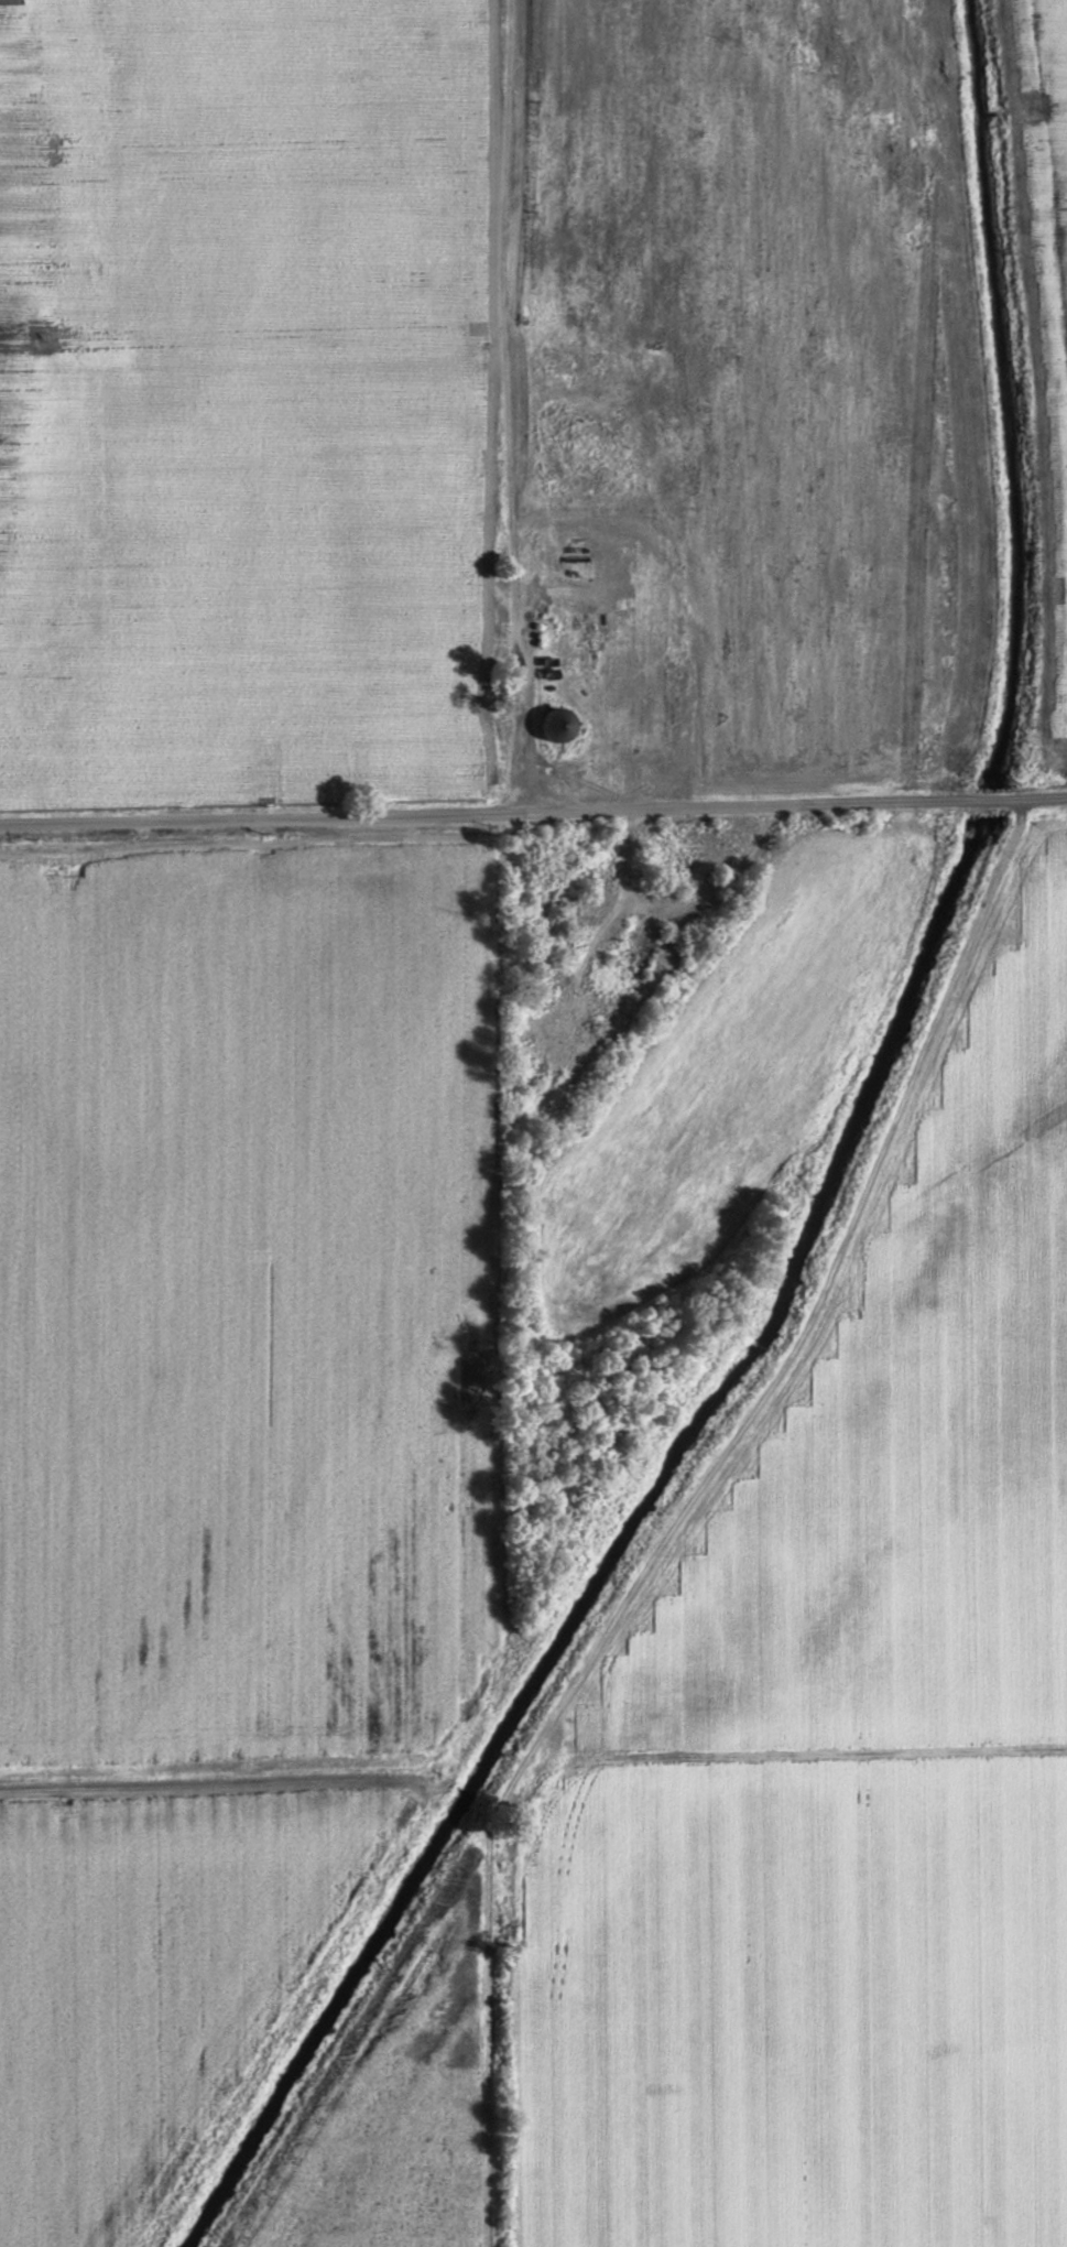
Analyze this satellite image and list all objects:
road: (515, 621)
road: (533, 810)

